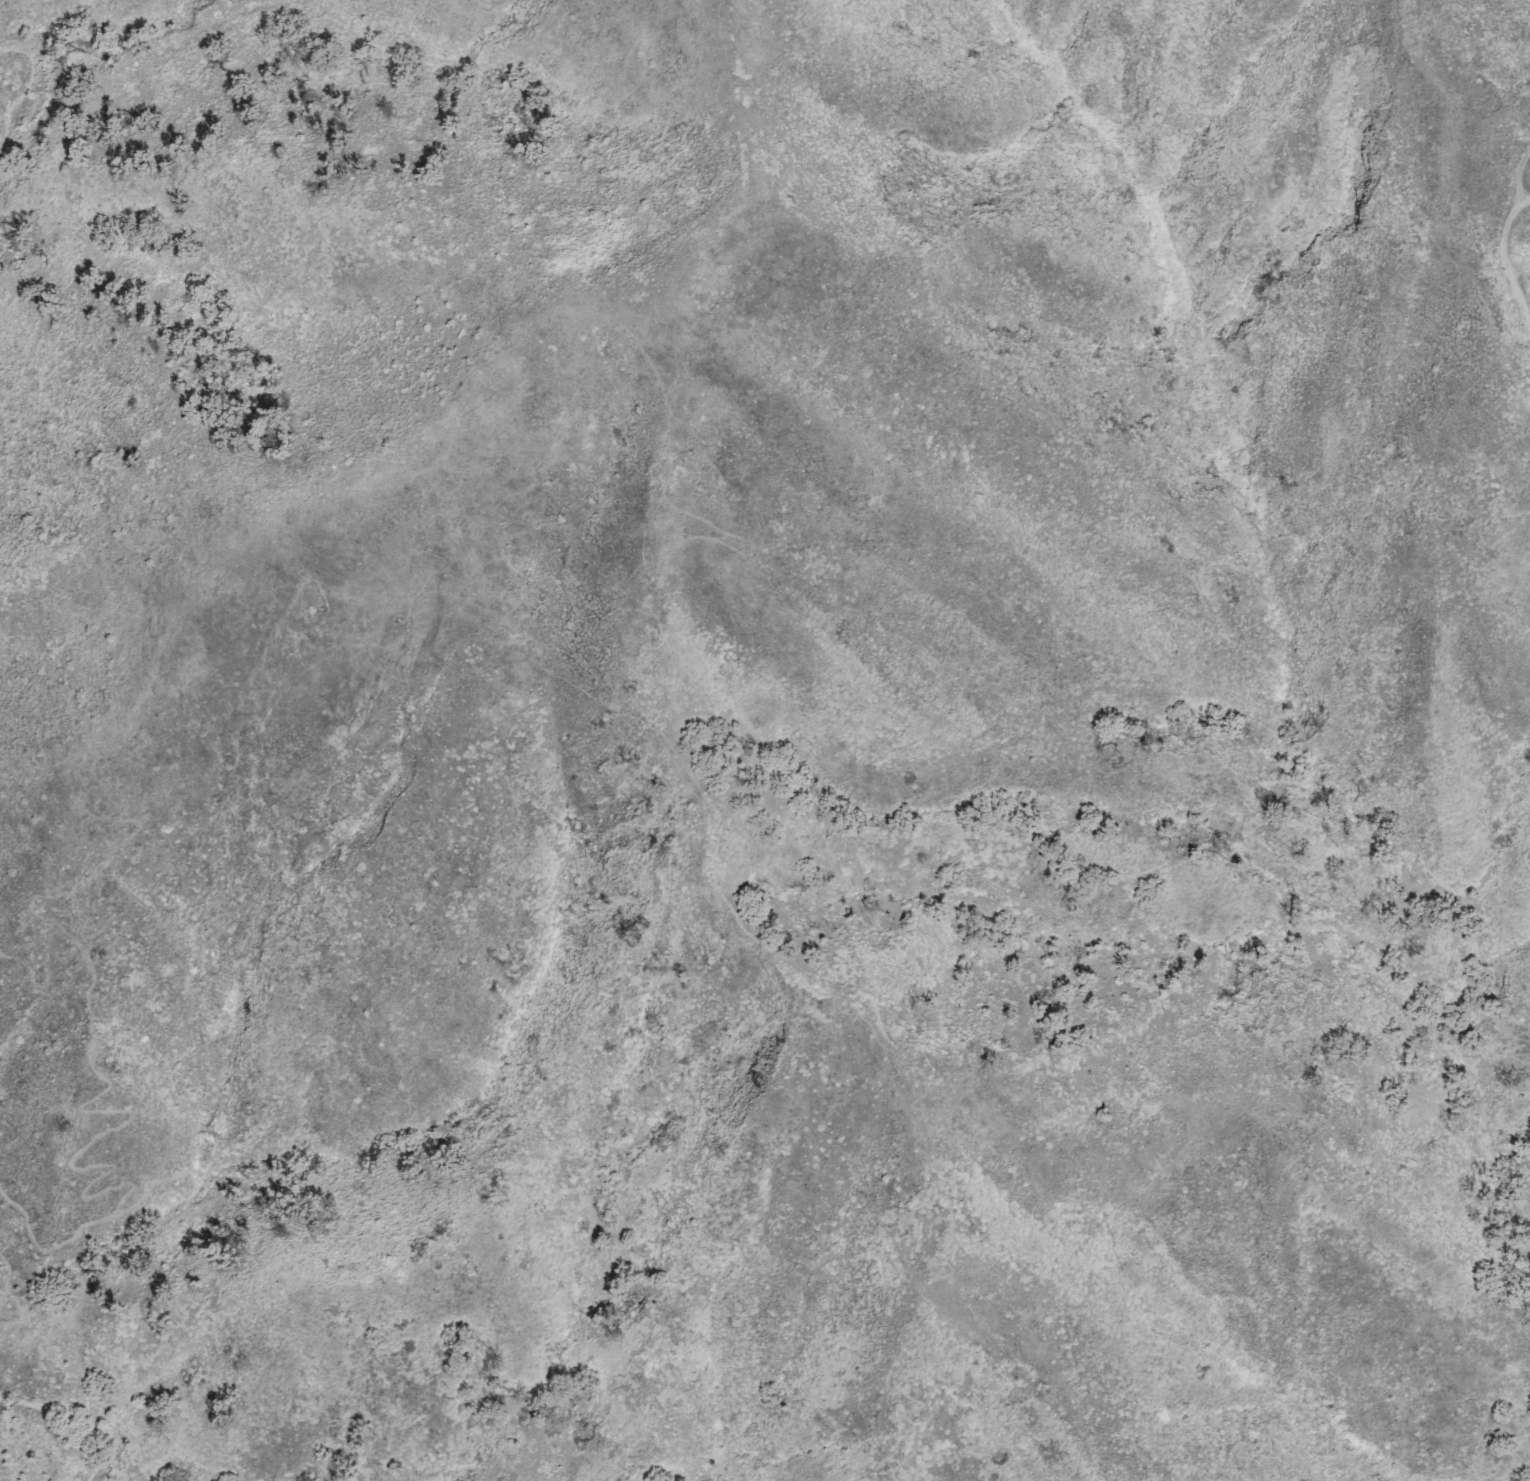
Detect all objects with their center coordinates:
road: (0, 0)
road: (1492, 258)
road: (504, 342)
road: (86, 1378)
road: (504, 1467)

